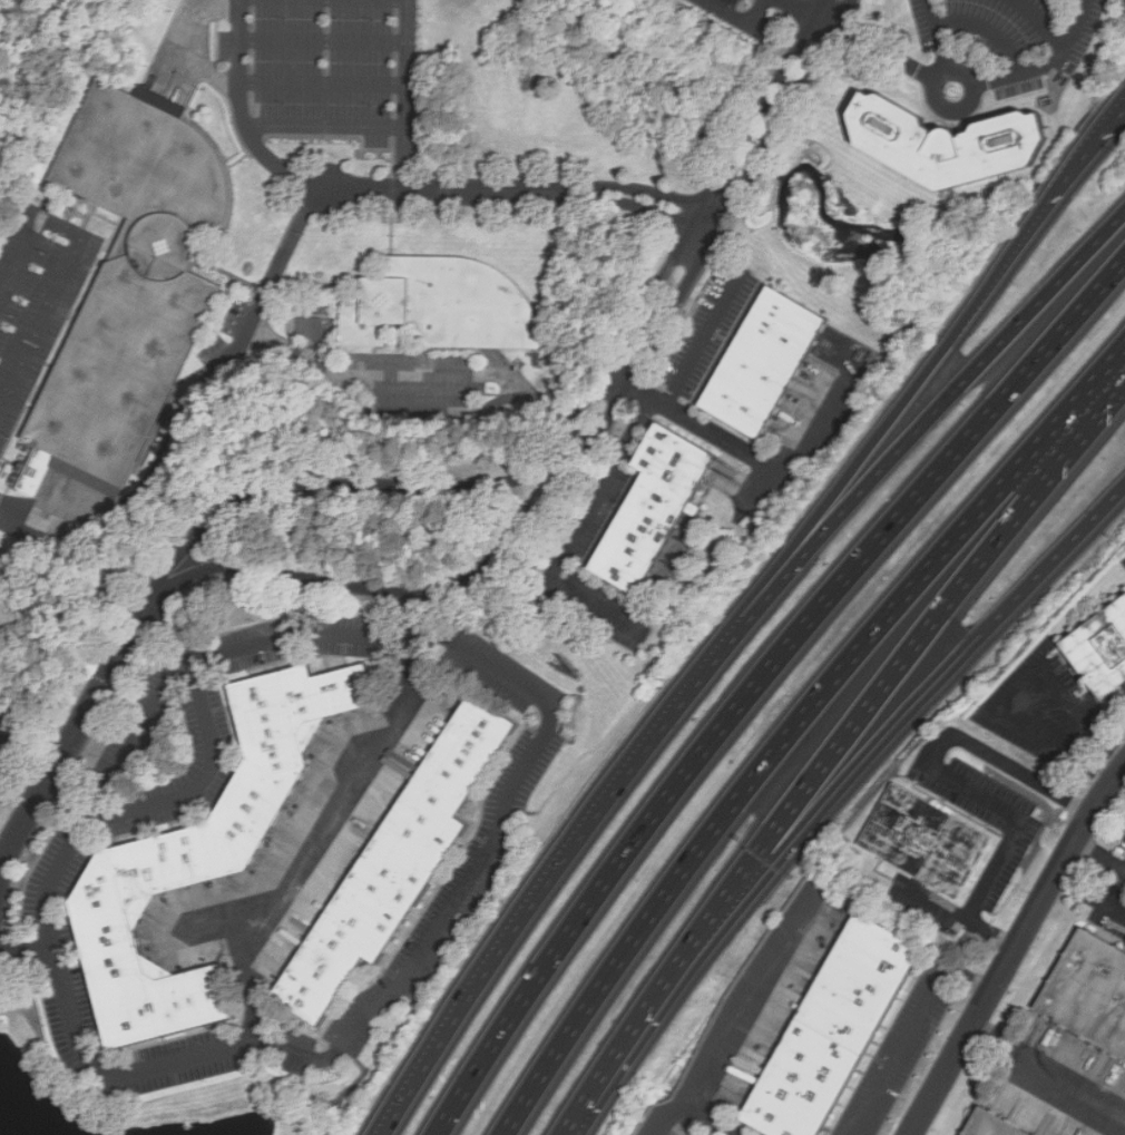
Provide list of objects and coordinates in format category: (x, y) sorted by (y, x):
road: (803, 7)
parking lot: (751, 11)
road: (742, 17)
road: (1043, 20)
parking lot: (1017, 33)
road: (941, 36)
road: (325, 38)
road: (877, 47)
road: (197, 52)
road: (1044, 62)
parking lot: (331, 69)
road: (965, 76)
road: (325, 86)
road: (408, 94)
road: (242, 112)
road: (326, 127)
building: (957, 134)
road: (1084, 158)
road: (524, 192)
road: (19, 260)
building: (144, 274)
road: (47, 296)
building: (444, 306)
parking lot: (40, 310)
road: (704, 336)
building: (770, 361)
road: (618, 375)
road: (190, 401)
road: (922, 423)
road: (575, 425)
road: (887, 425)
road: (1088, 429)
road: (591, 441)
road: (760, 458)
building: (661, 506)
road: (577, 528)
road: (407, 613)
building: (1103, 649)
road: (898, 672)
road: (757, 679)
road: (937, 682)
road: (1026, 689)
road: (791, 728)
road: (137, 730)
road: (76, 731)
road: (2, 732)
road: (959, 780)
road: (77, 799)
road: (336, 814)
building: (216, 844)
building: (927, 844)
building: (407, 852)
road: (1100, 853)
road: (544, 881)
road: (1090, 896)
road: (1016, 948)
road: (27, 952)
road: (250, 980)
building: (1090, 994)
road: (652, 1000)
road: (741, 1020)
building: (834, 1031)
road: (911, 1031)
road: (315, 1056)
road: (1047, 1075)
road: (673, 1121)
building: (994, 1125)

